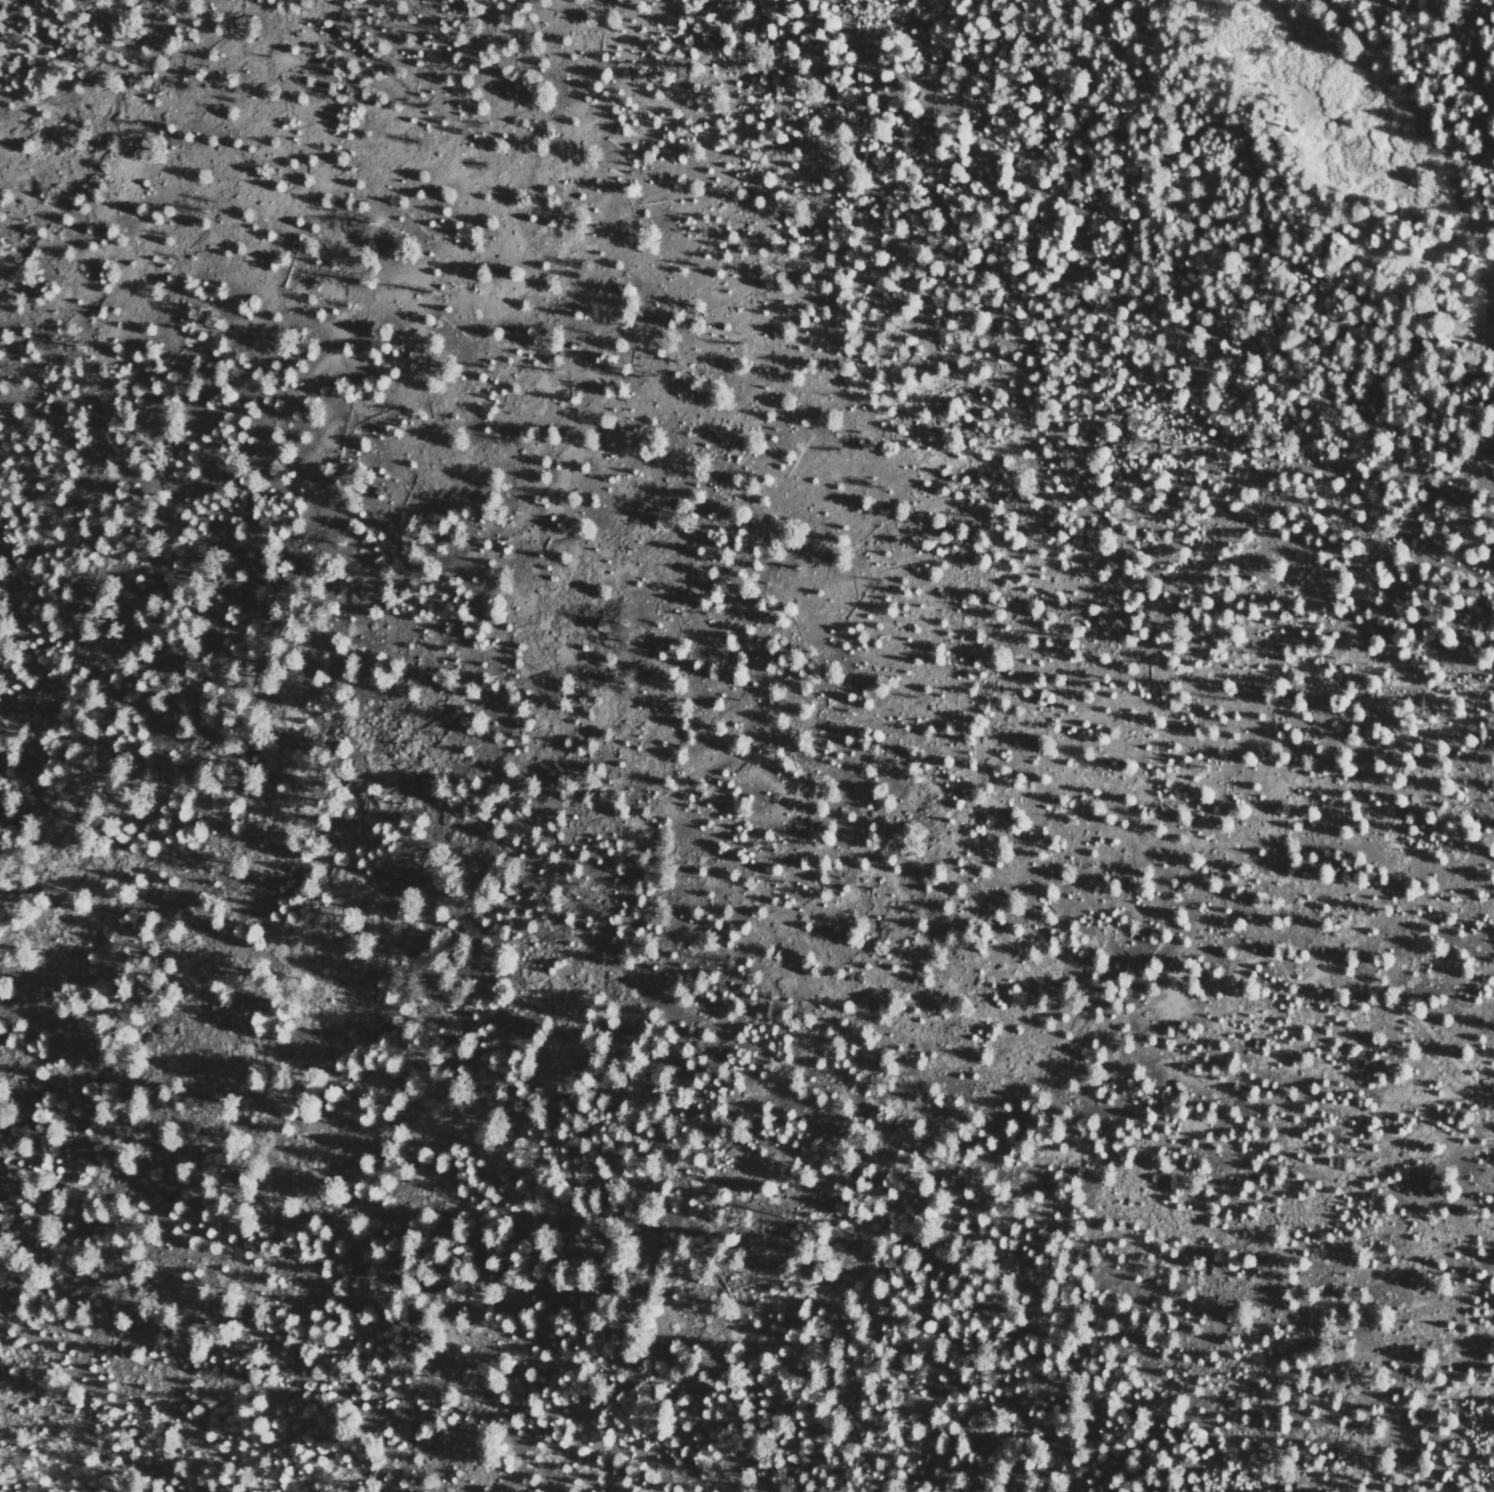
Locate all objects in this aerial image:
road: (1430, 143)
road: (1277, 256)
road: (1302, 978)
road: (1434, 1427)

